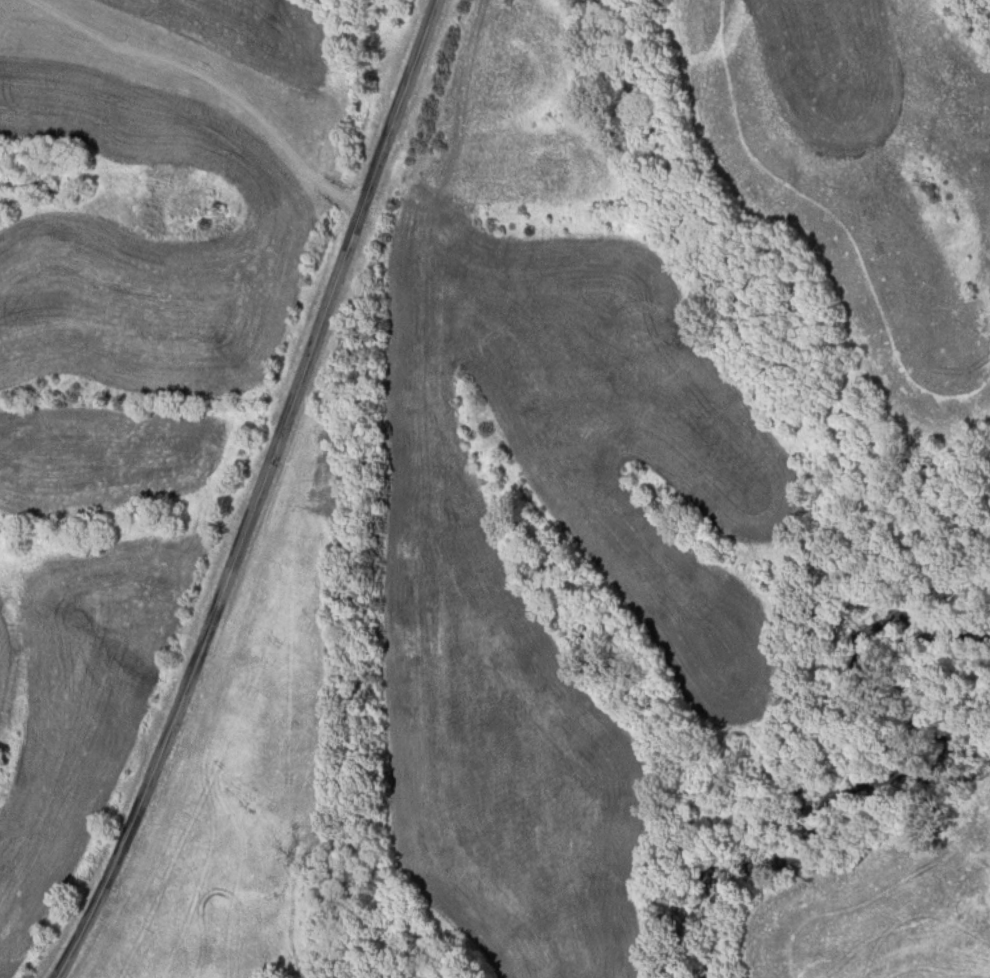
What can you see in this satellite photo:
road: (256, 493)

